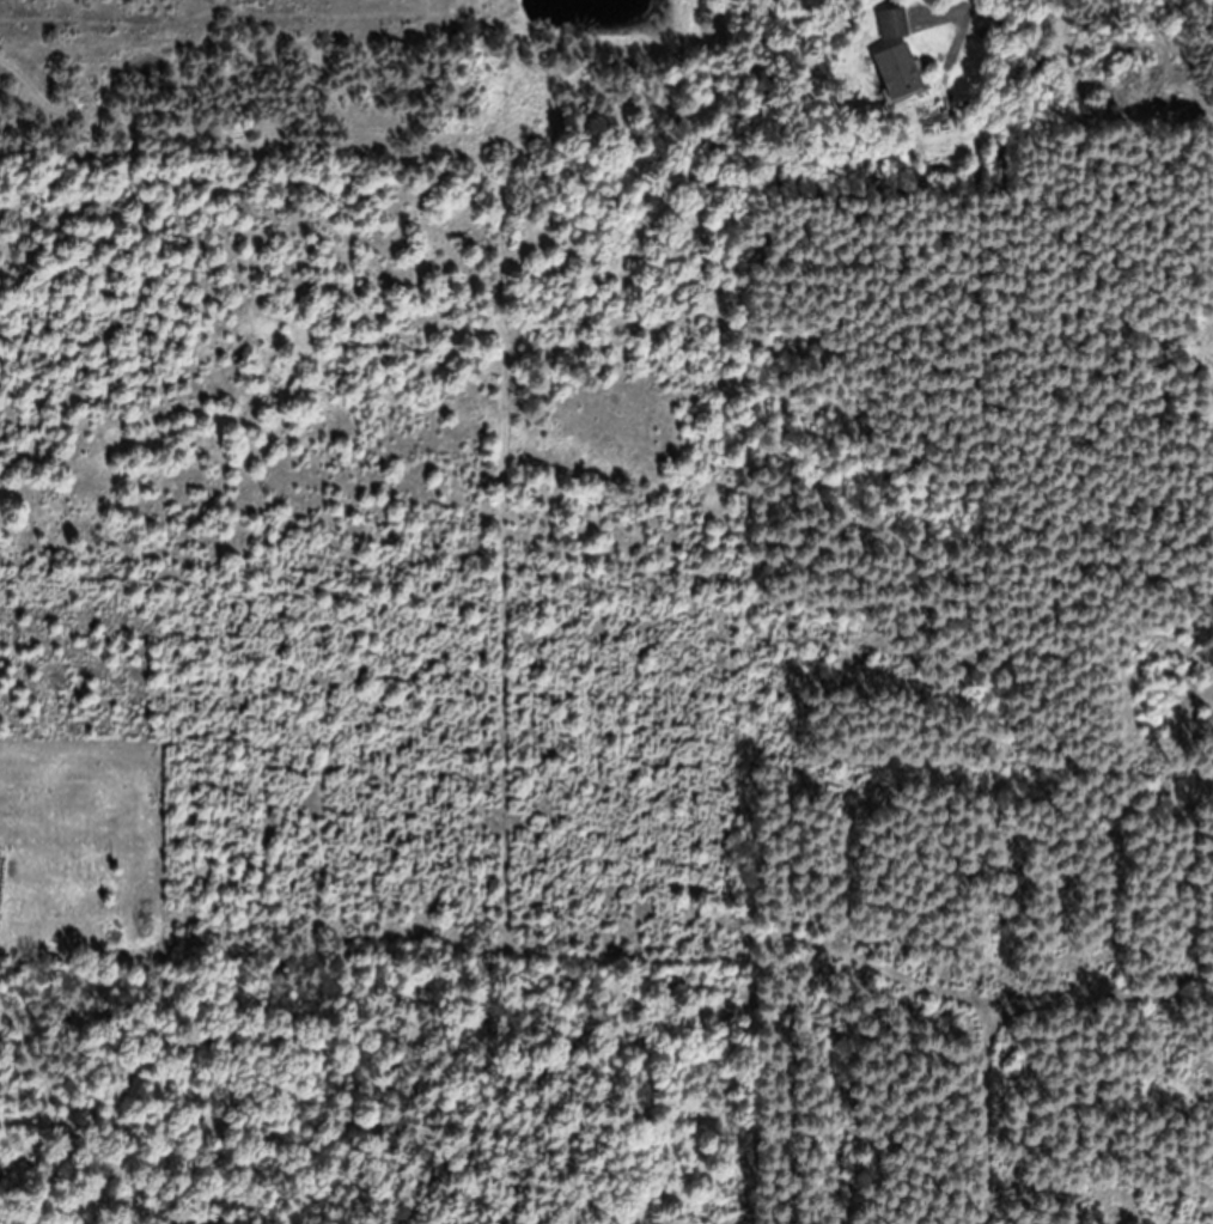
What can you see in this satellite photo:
building: (891, 25)
building: (896, 73)

